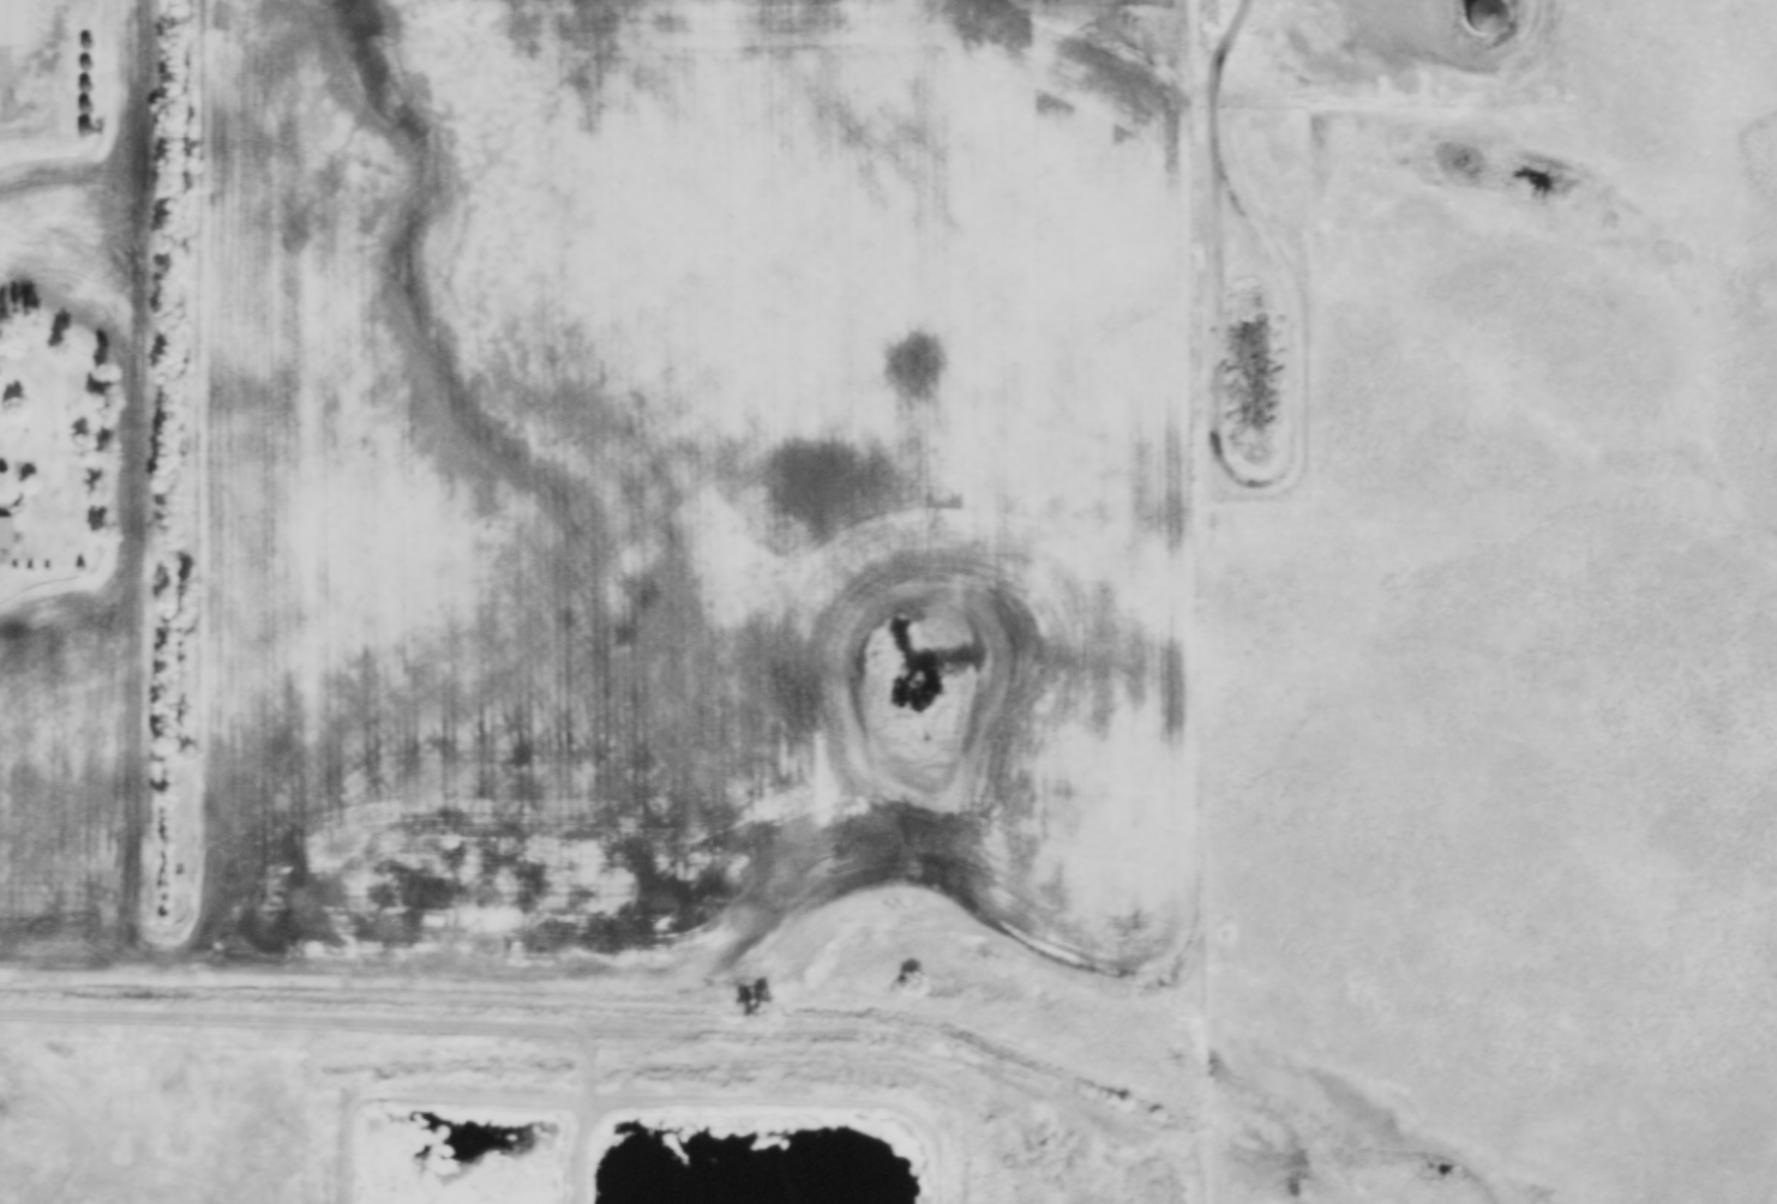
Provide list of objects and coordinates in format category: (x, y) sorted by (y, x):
building: (1484, 14)
silo: (1484, 14)
building: (13, 23)
building: (86, 42)
silo: (86, 42)
building: (85, 62)
silo: (85, 62)
building: (84, 85)
silo: (84, 85)
building: (84, 106)
silo: (84, 106)
building: (83, 126)
silo: (83, 126)
road: (2, 130)
building: (5, 530)
road: (1171, 601)
road: (376, 1018)
road: (815, 1027)

